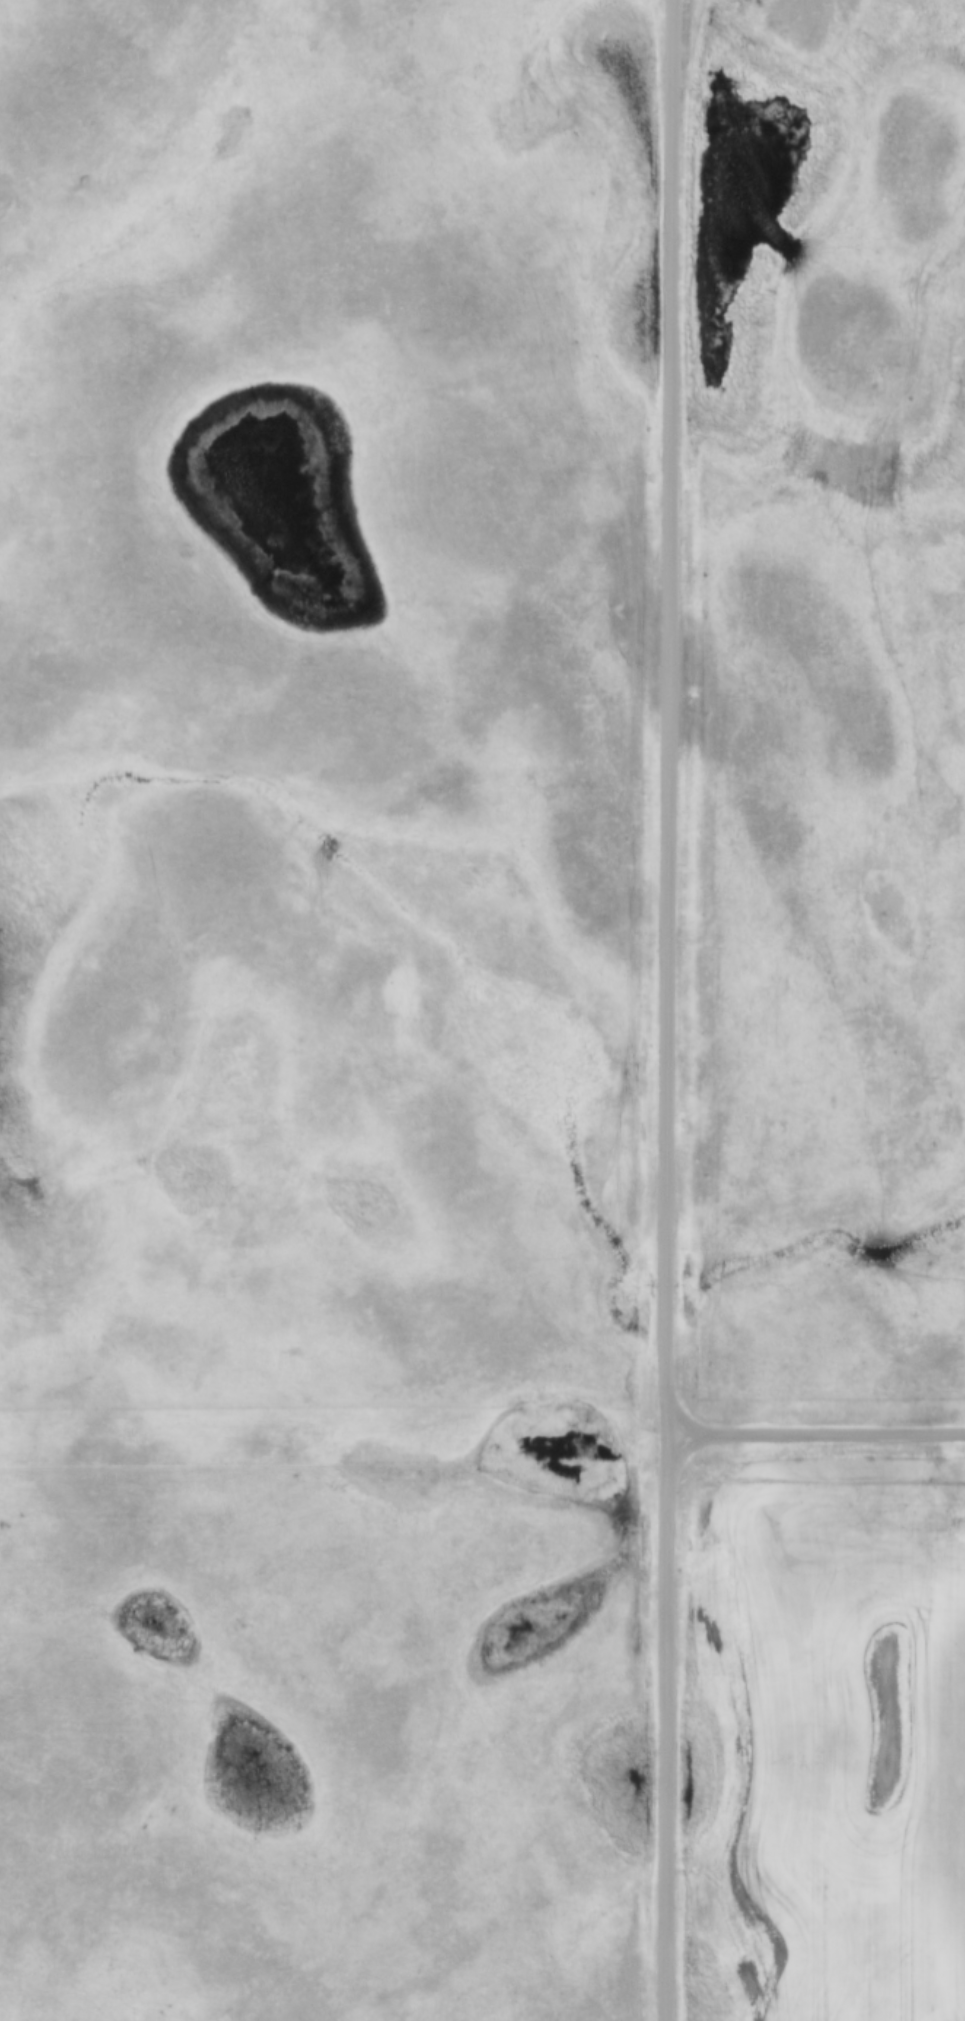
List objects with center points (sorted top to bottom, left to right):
road: (671, 1010)
road: (820, 1437)

